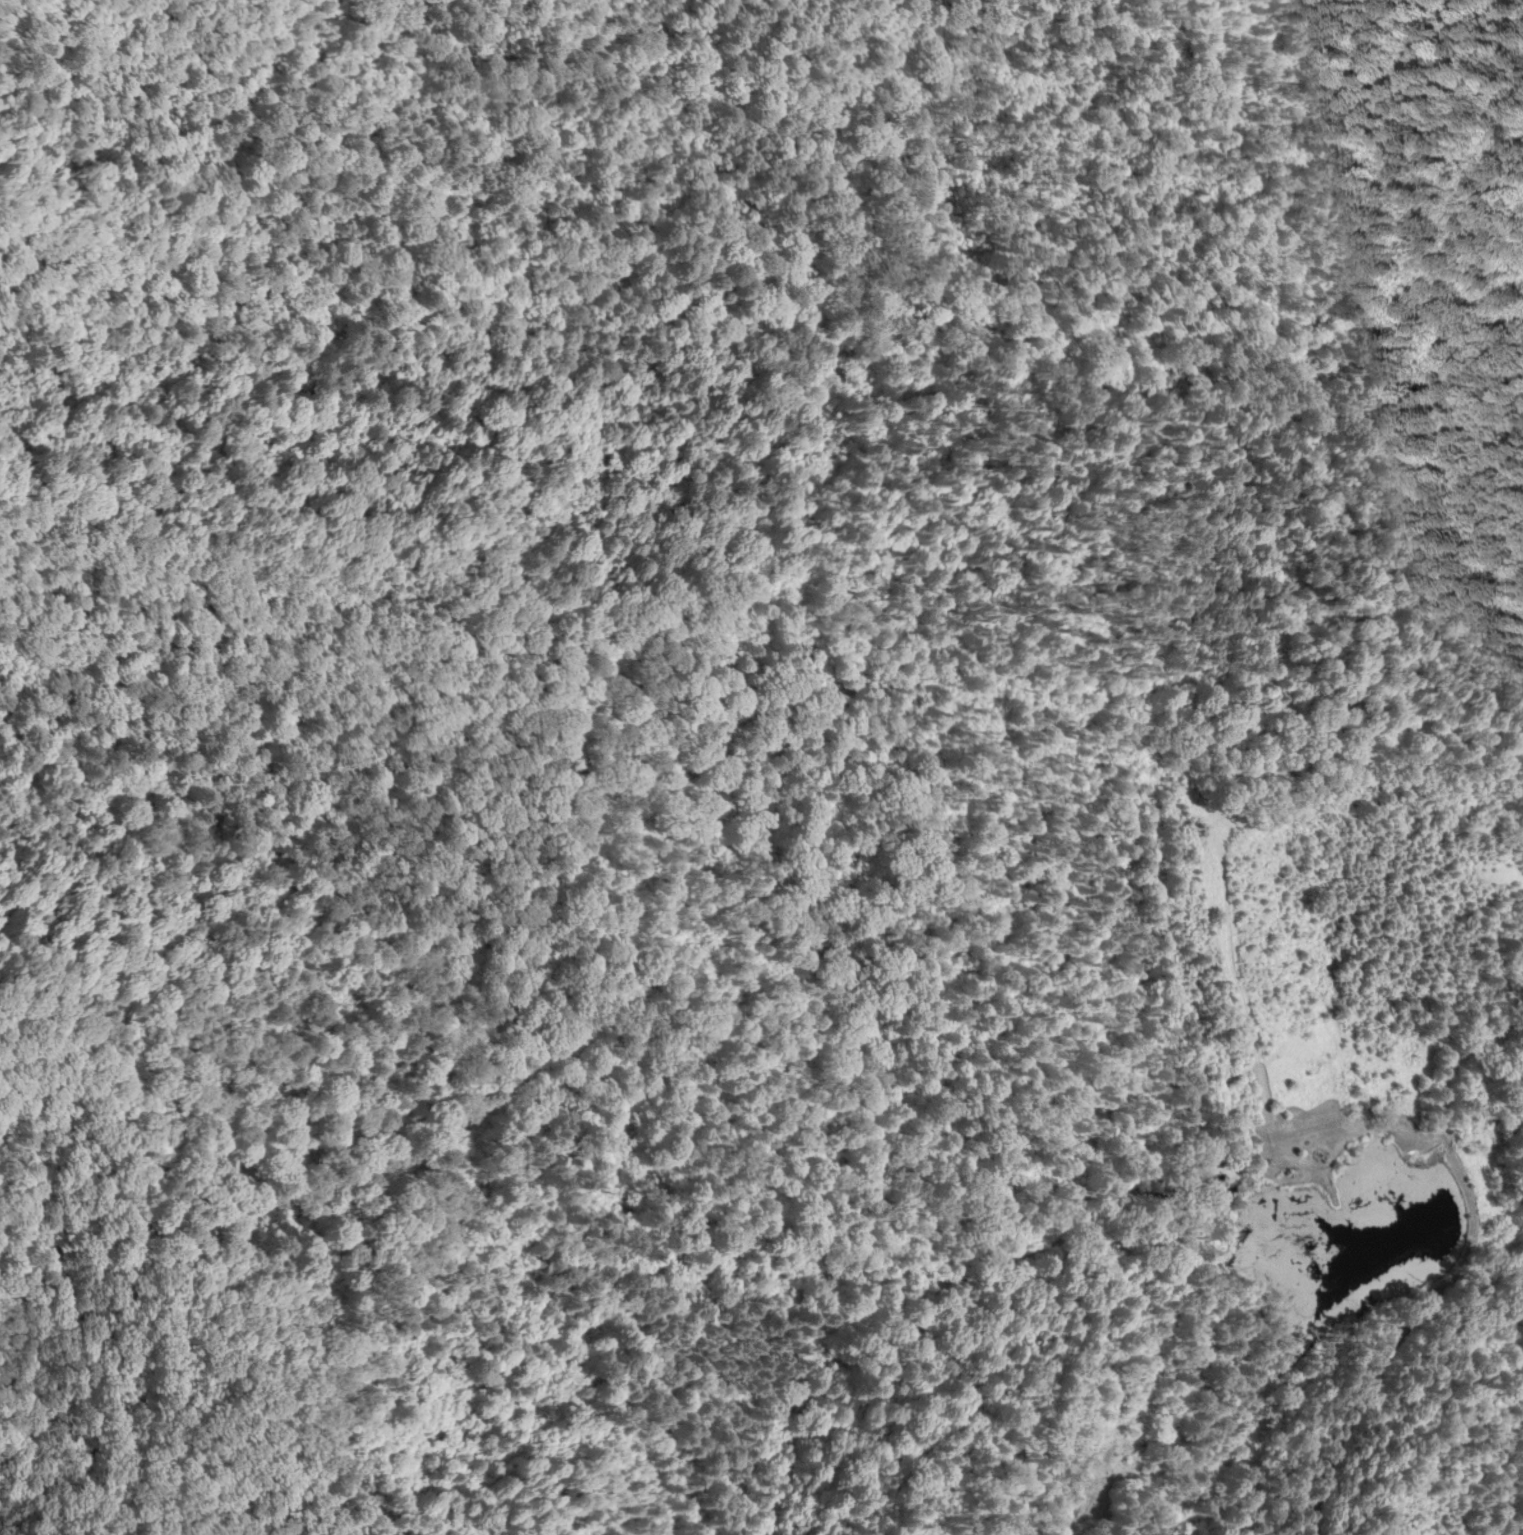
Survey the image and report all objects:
road: (1432, 416)
road: (1441, 1102)
road: (1502, 1225)
road: (1377, 1366)

